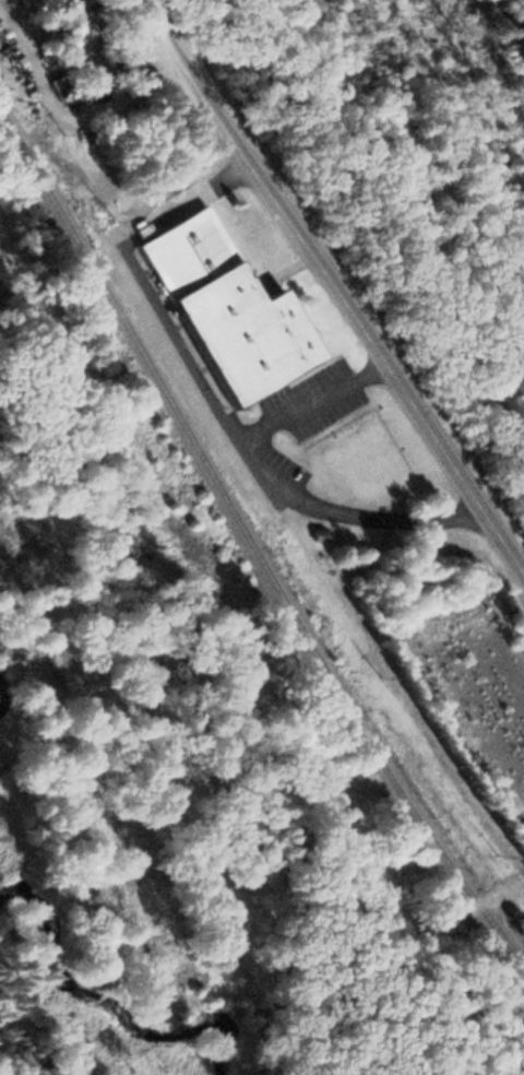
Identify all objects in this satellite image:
building: (50, 2)
building: (62, 17)
road: (344, 272)
building: (216, 310)
railway: (249, 554)
road: (460, 945)

